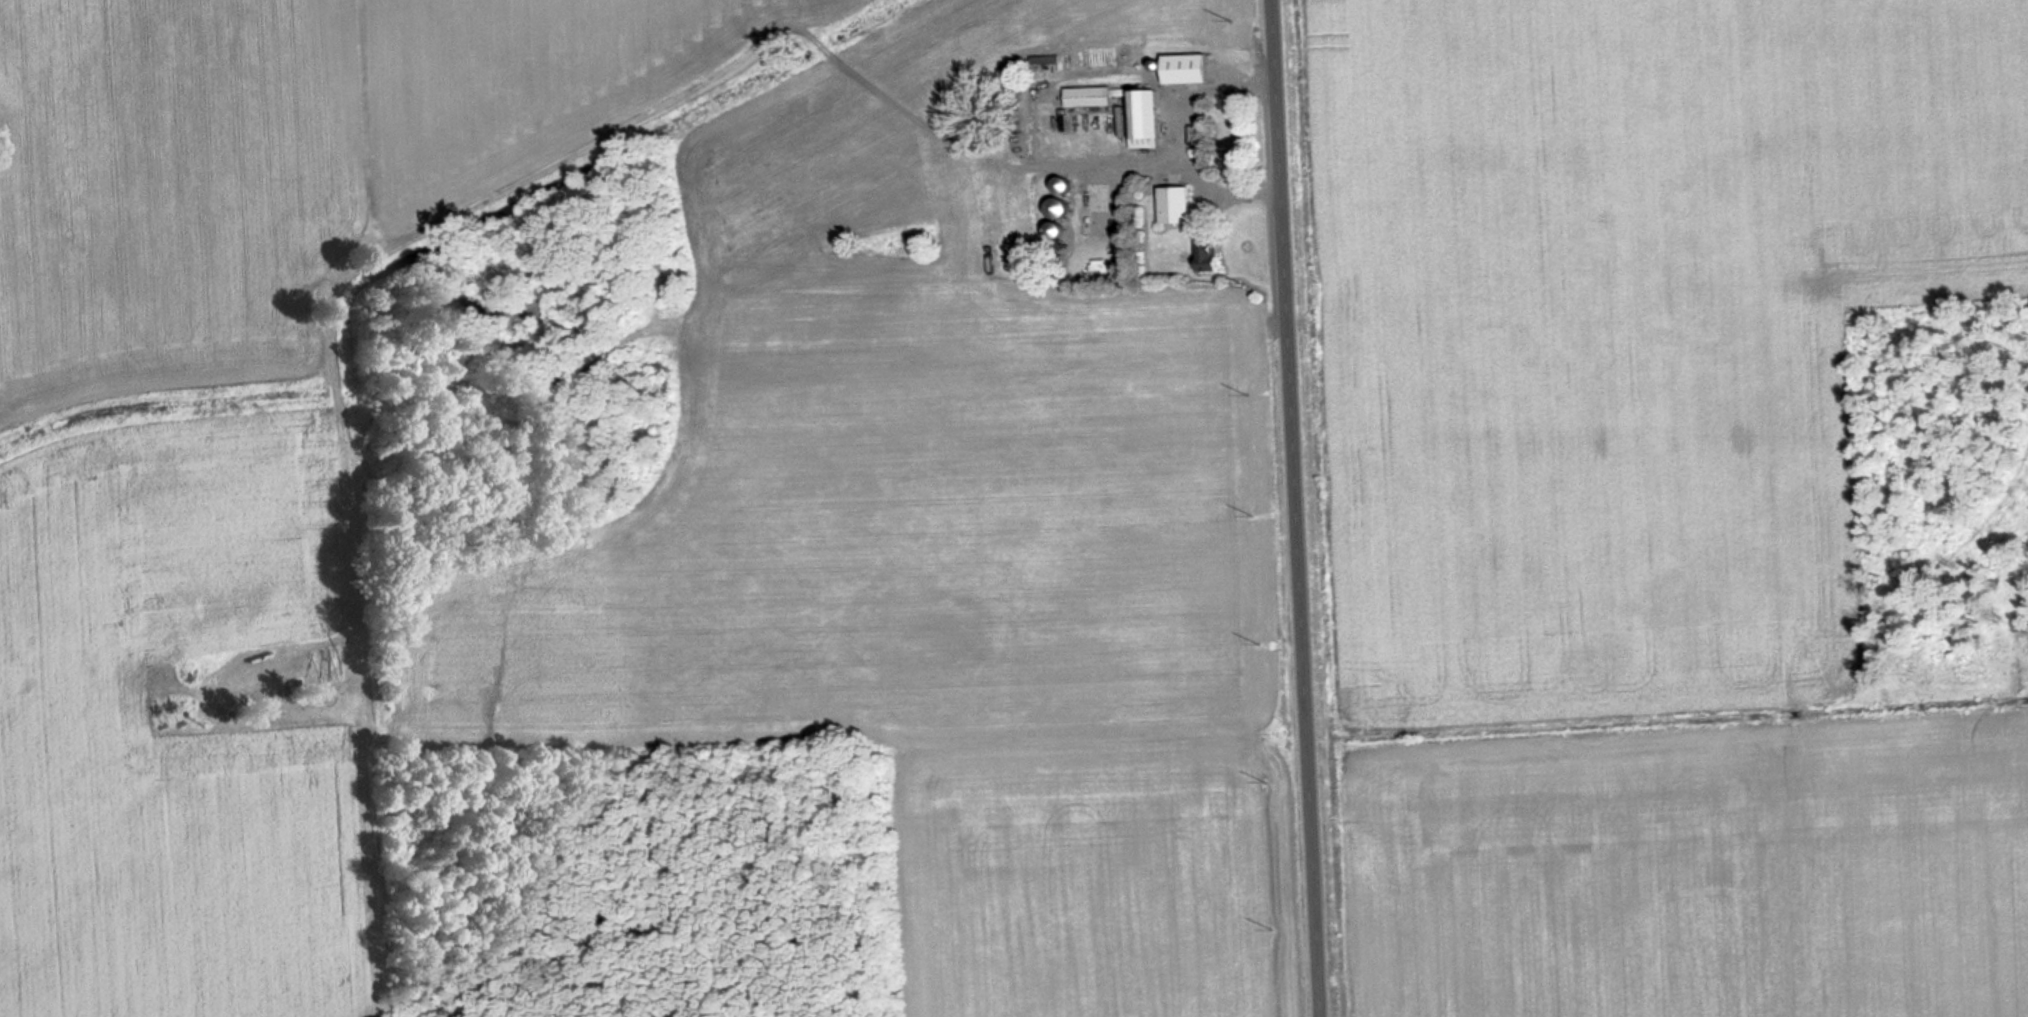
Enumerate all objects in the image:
building: (1044, 59)
building: (1185, 68)
building: (1087, 96)
building: (1143, 118)
building: (1060, 184)
building: (1175, 204)
building: (1056, 208)
building: (1054, 230)
building: (1208, 255)
road: (1301, 508)

